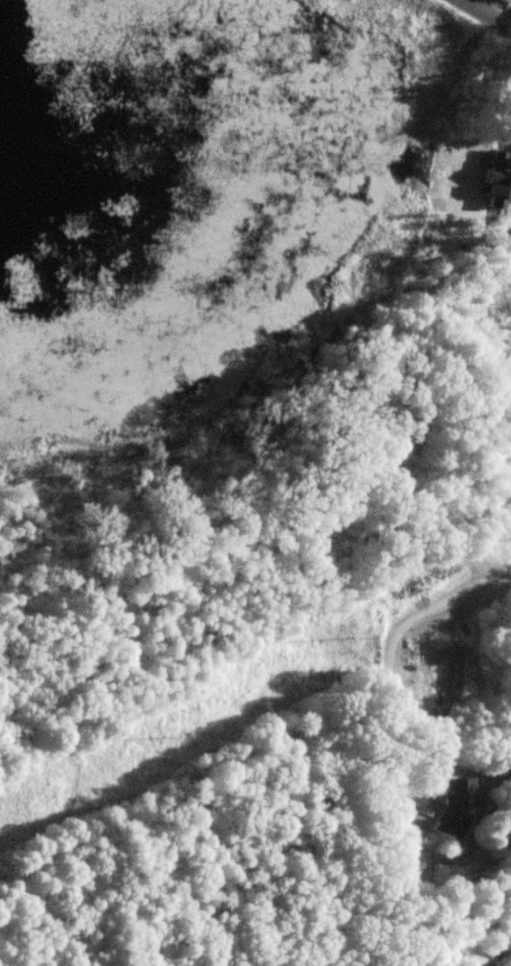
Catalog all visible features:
road: (486, 13)
building: (497, 176)
road: (388, 646)
building: (452, 808)
building: (410, 868)

